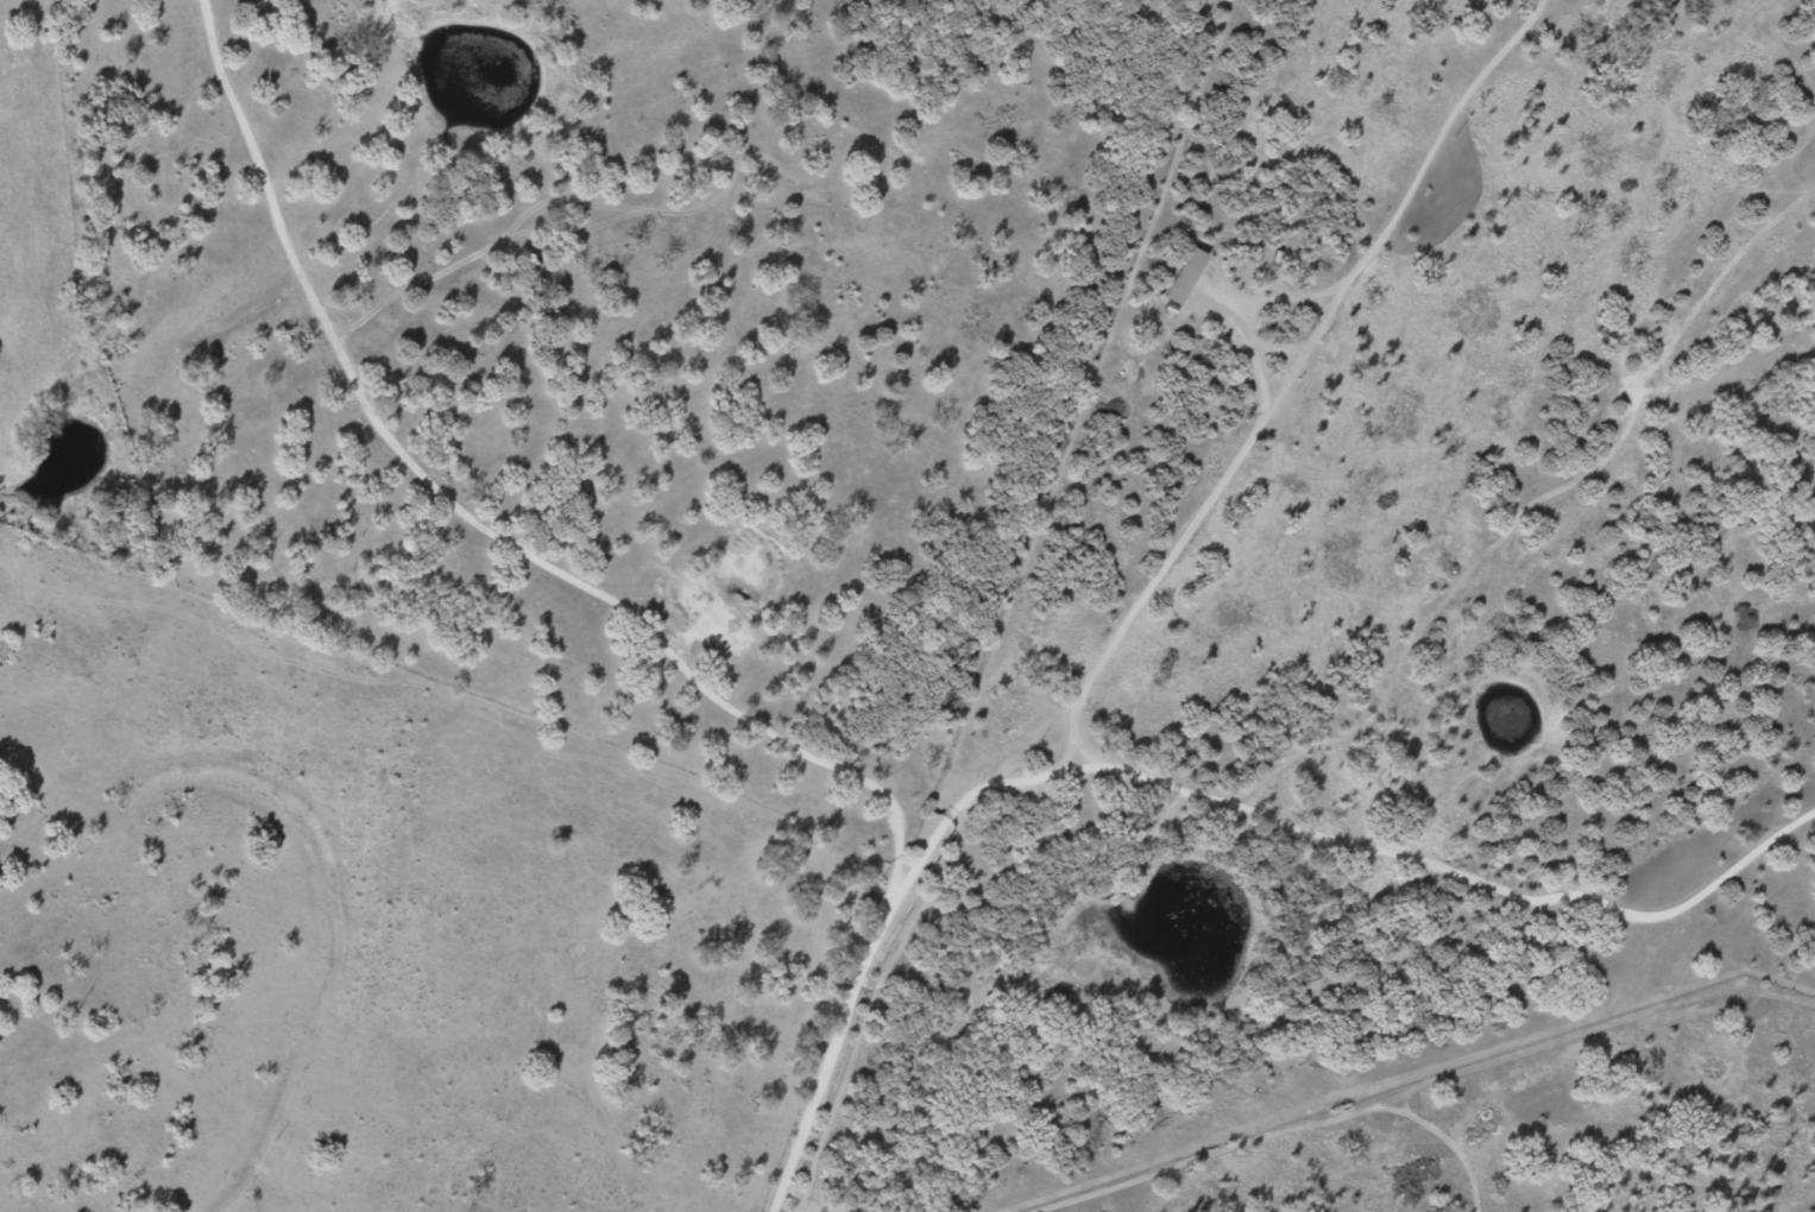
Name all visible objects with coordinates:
road: (499, 561)
road: (1449, 823)
road: (828, 1115)

